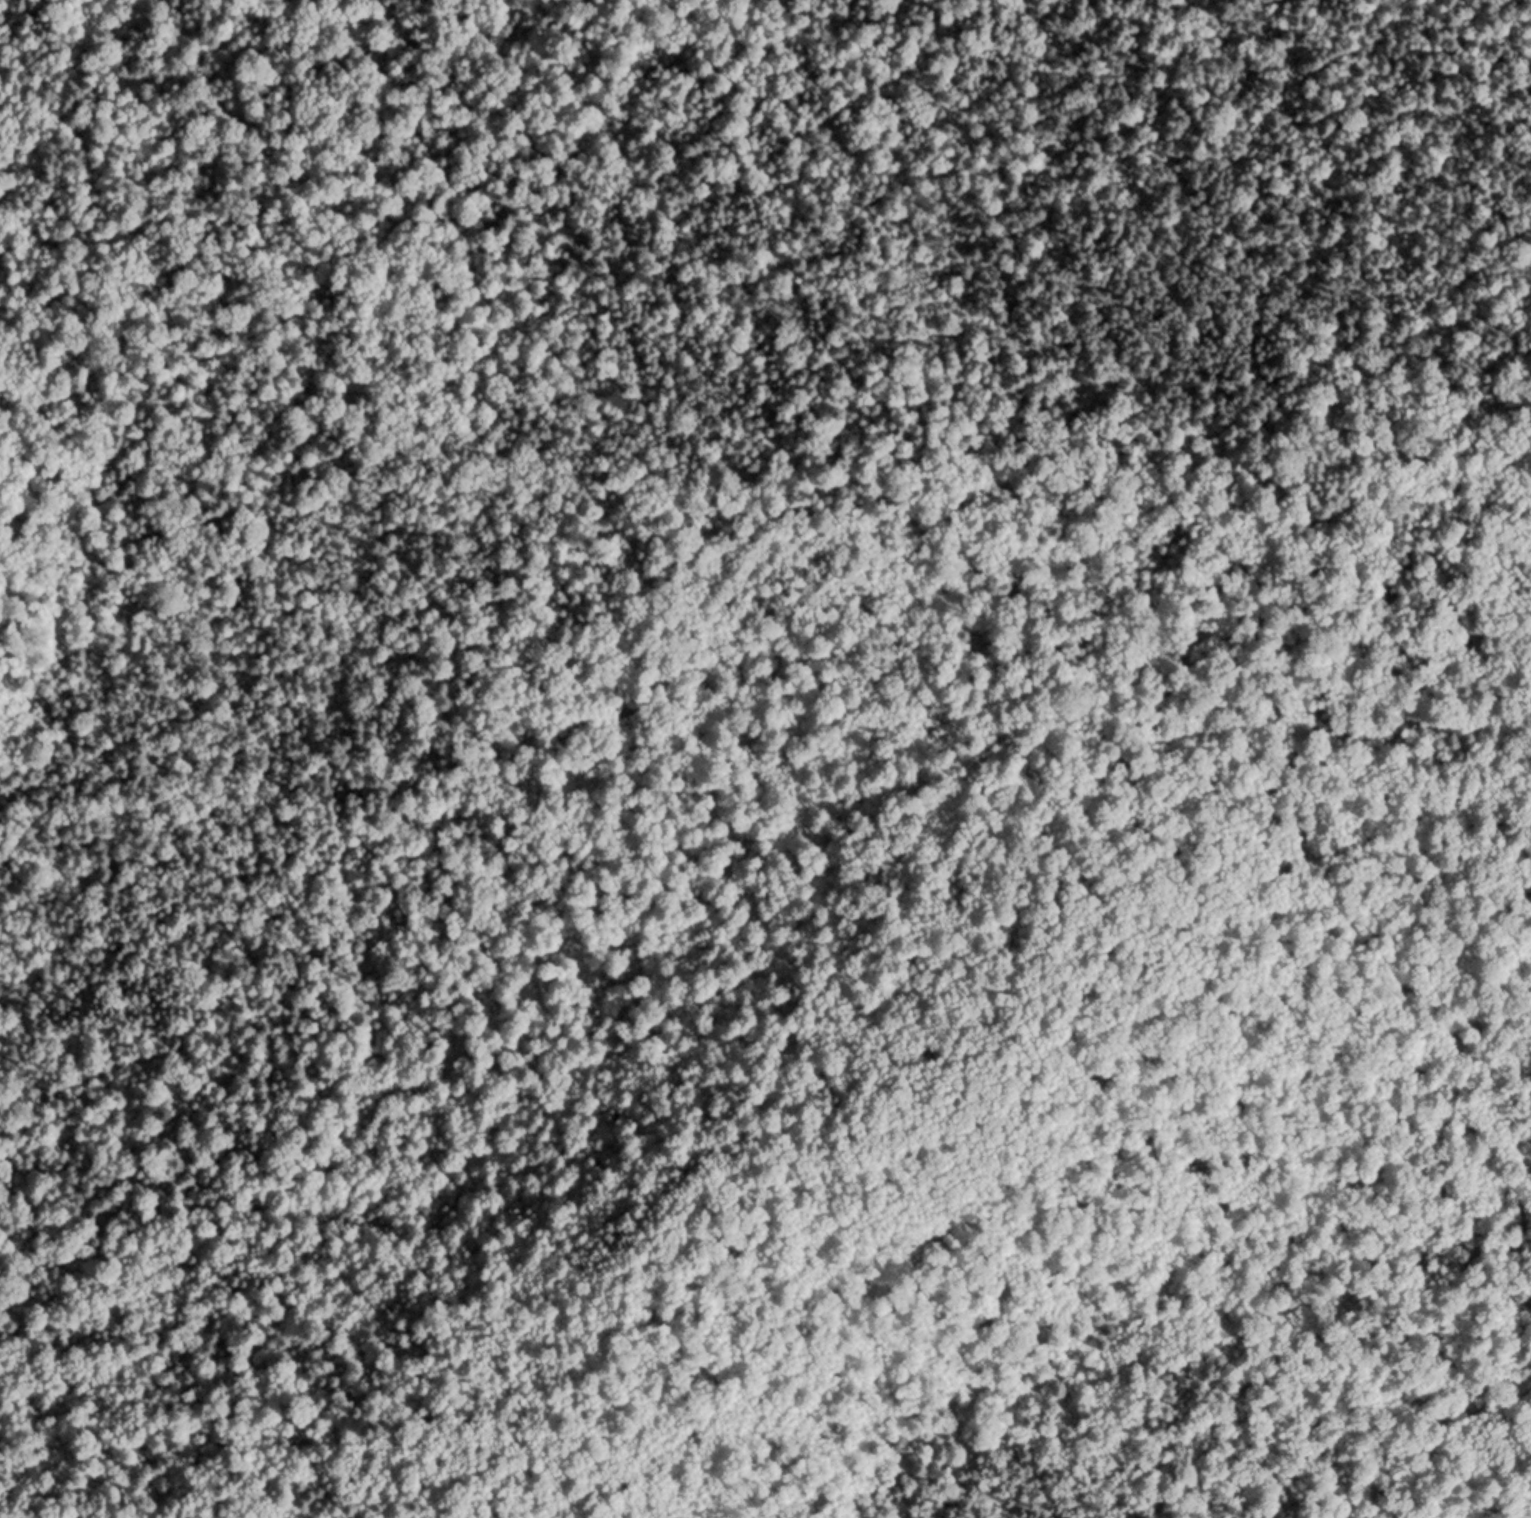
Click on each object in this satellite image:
road: (1479, 1452)

